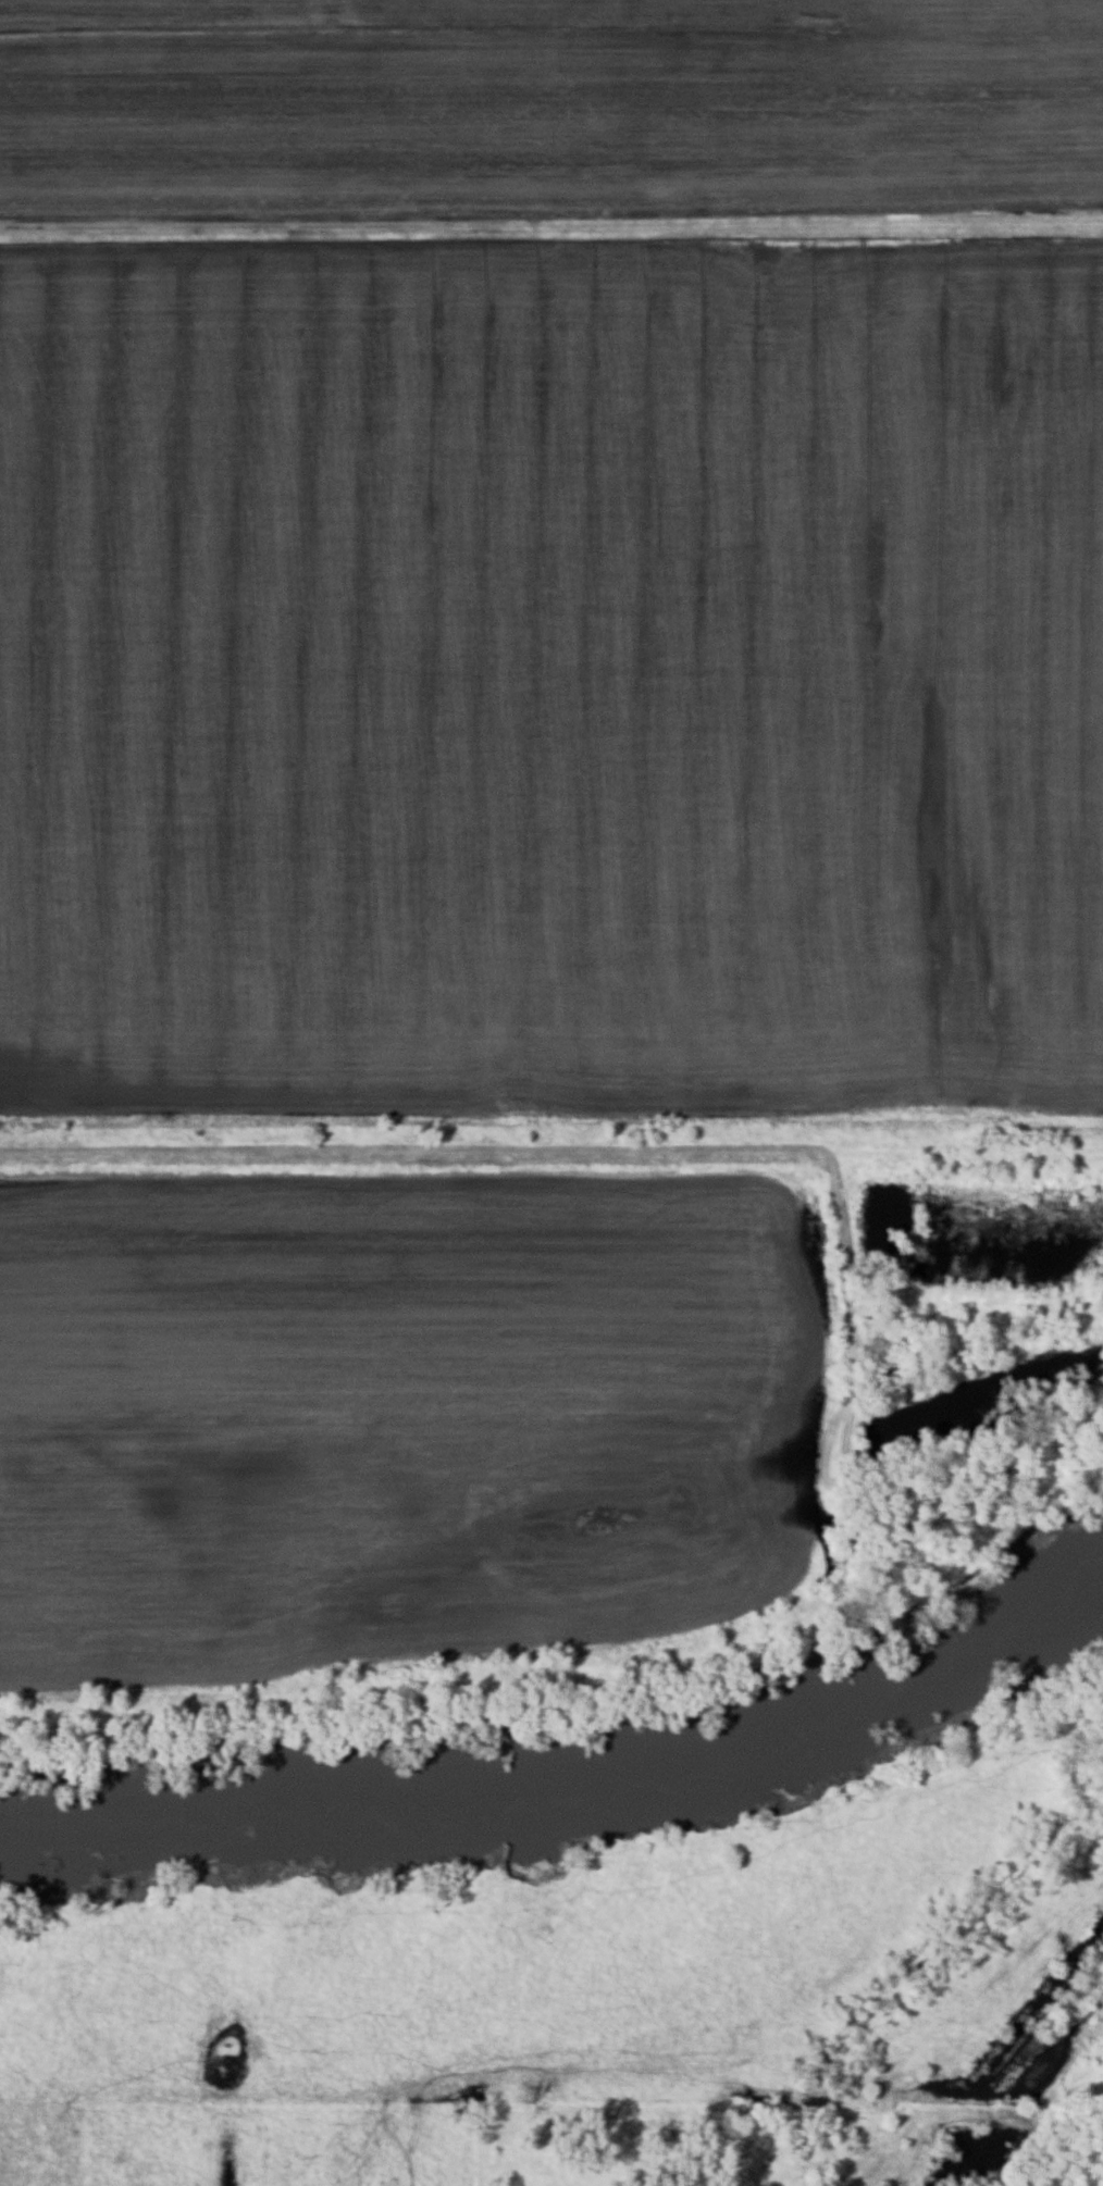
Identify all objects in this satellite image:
river: (567, 1767)

